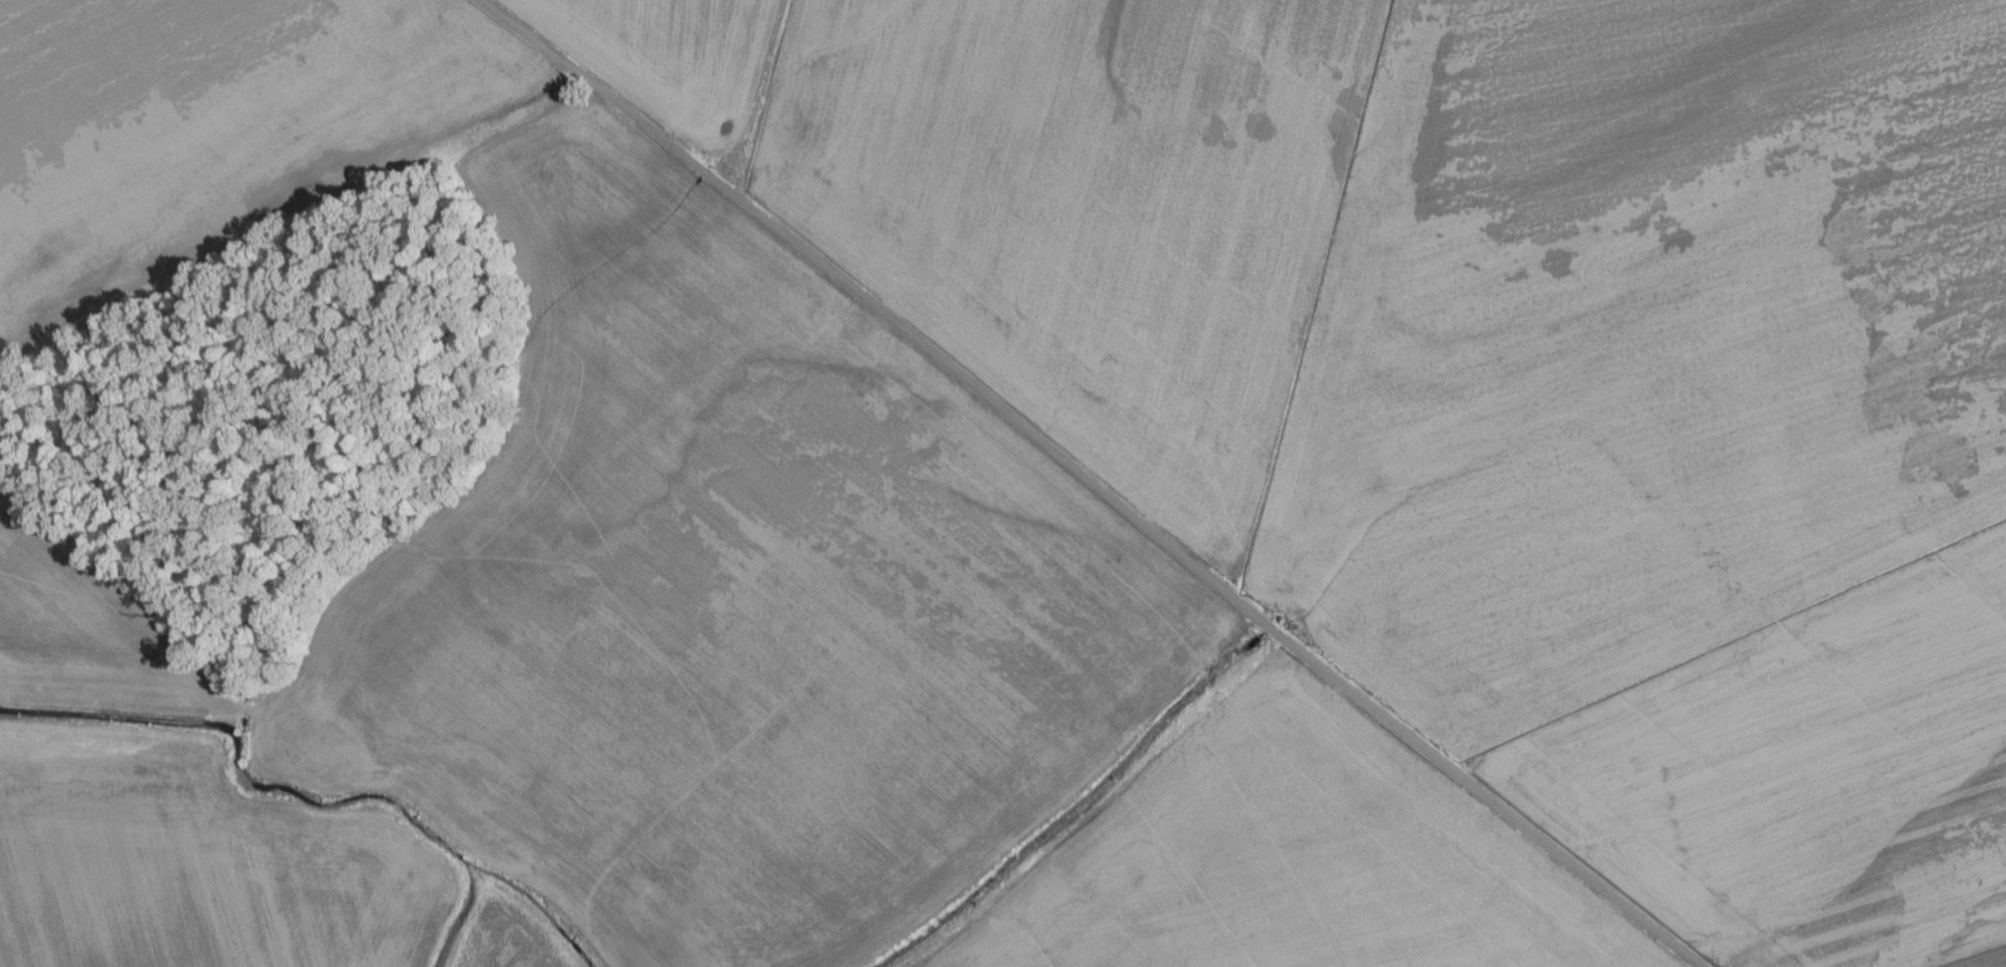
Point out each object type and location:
road: (1089, 482)

